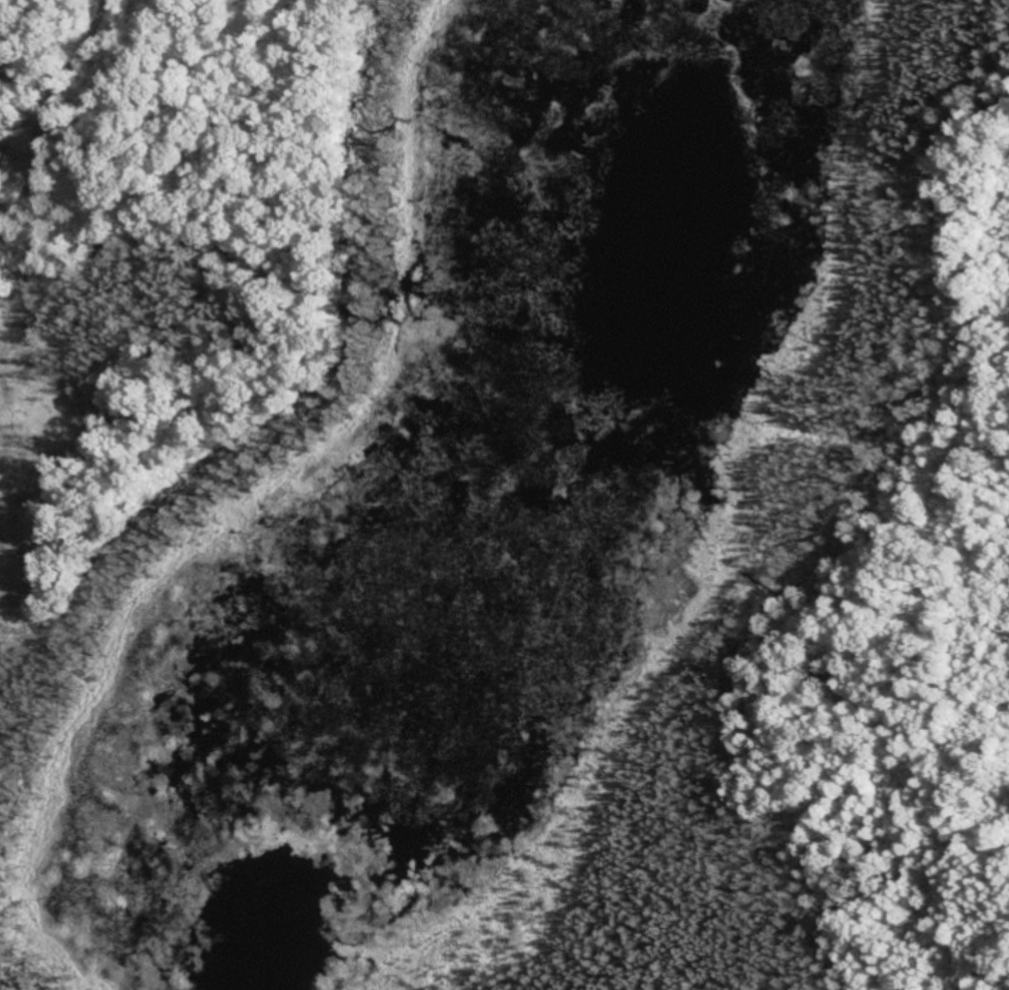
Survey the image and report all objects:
road: (43, 118)
building: (1, 157)

